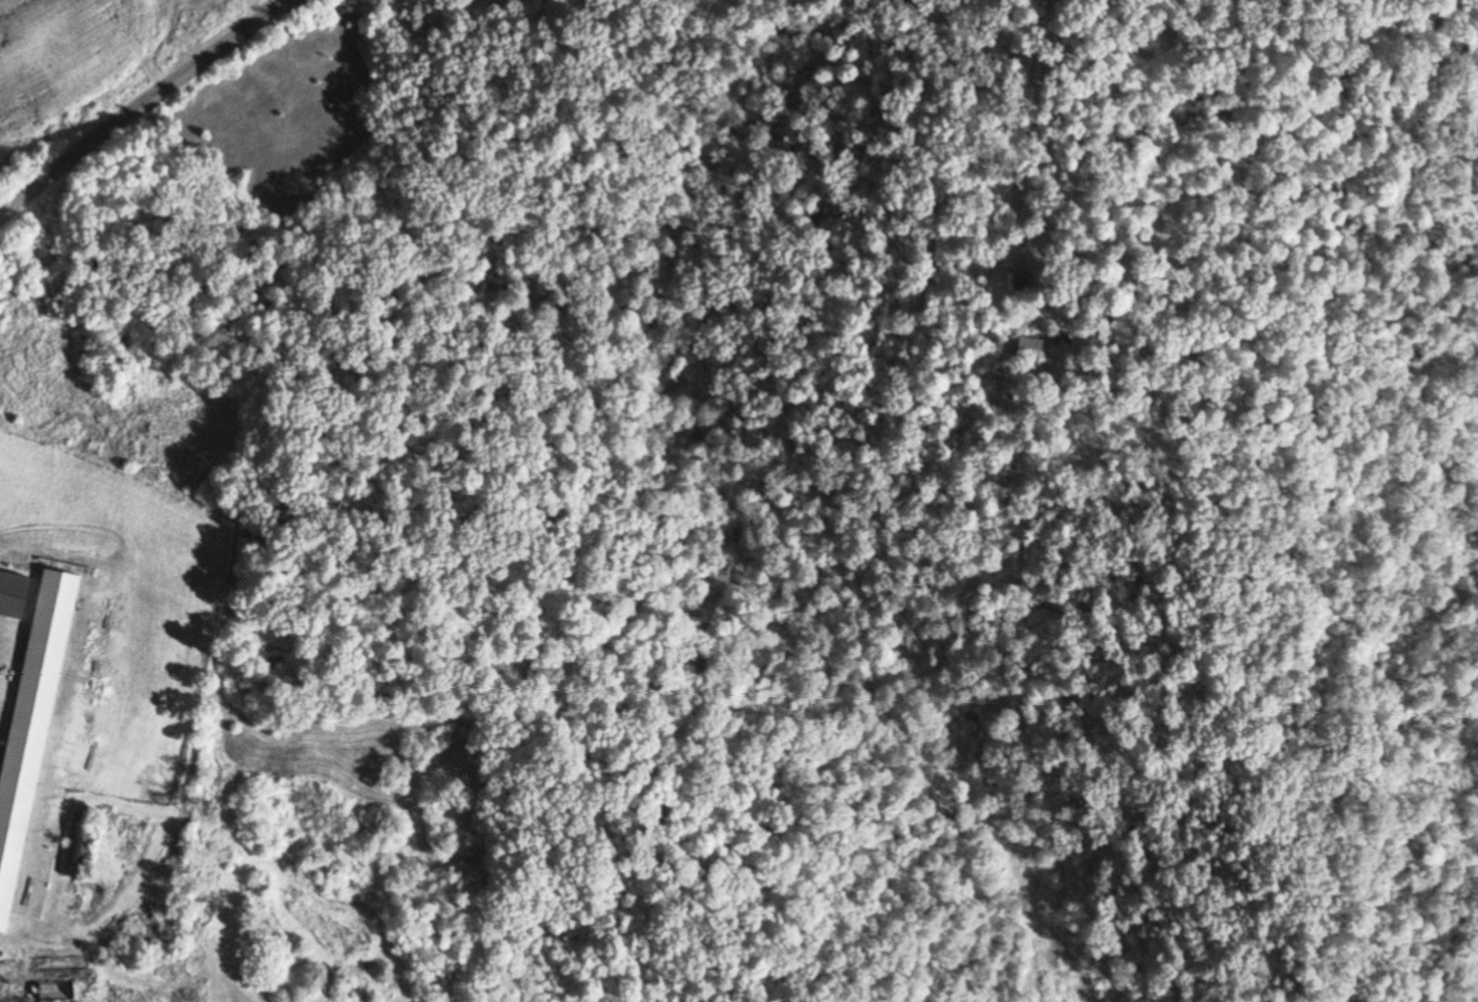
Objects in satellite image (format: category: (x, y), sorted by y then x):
road: (132, 103)
building: (28, 602)
building: (17, 810)
building: (73, 854)
building: (47, 993)

